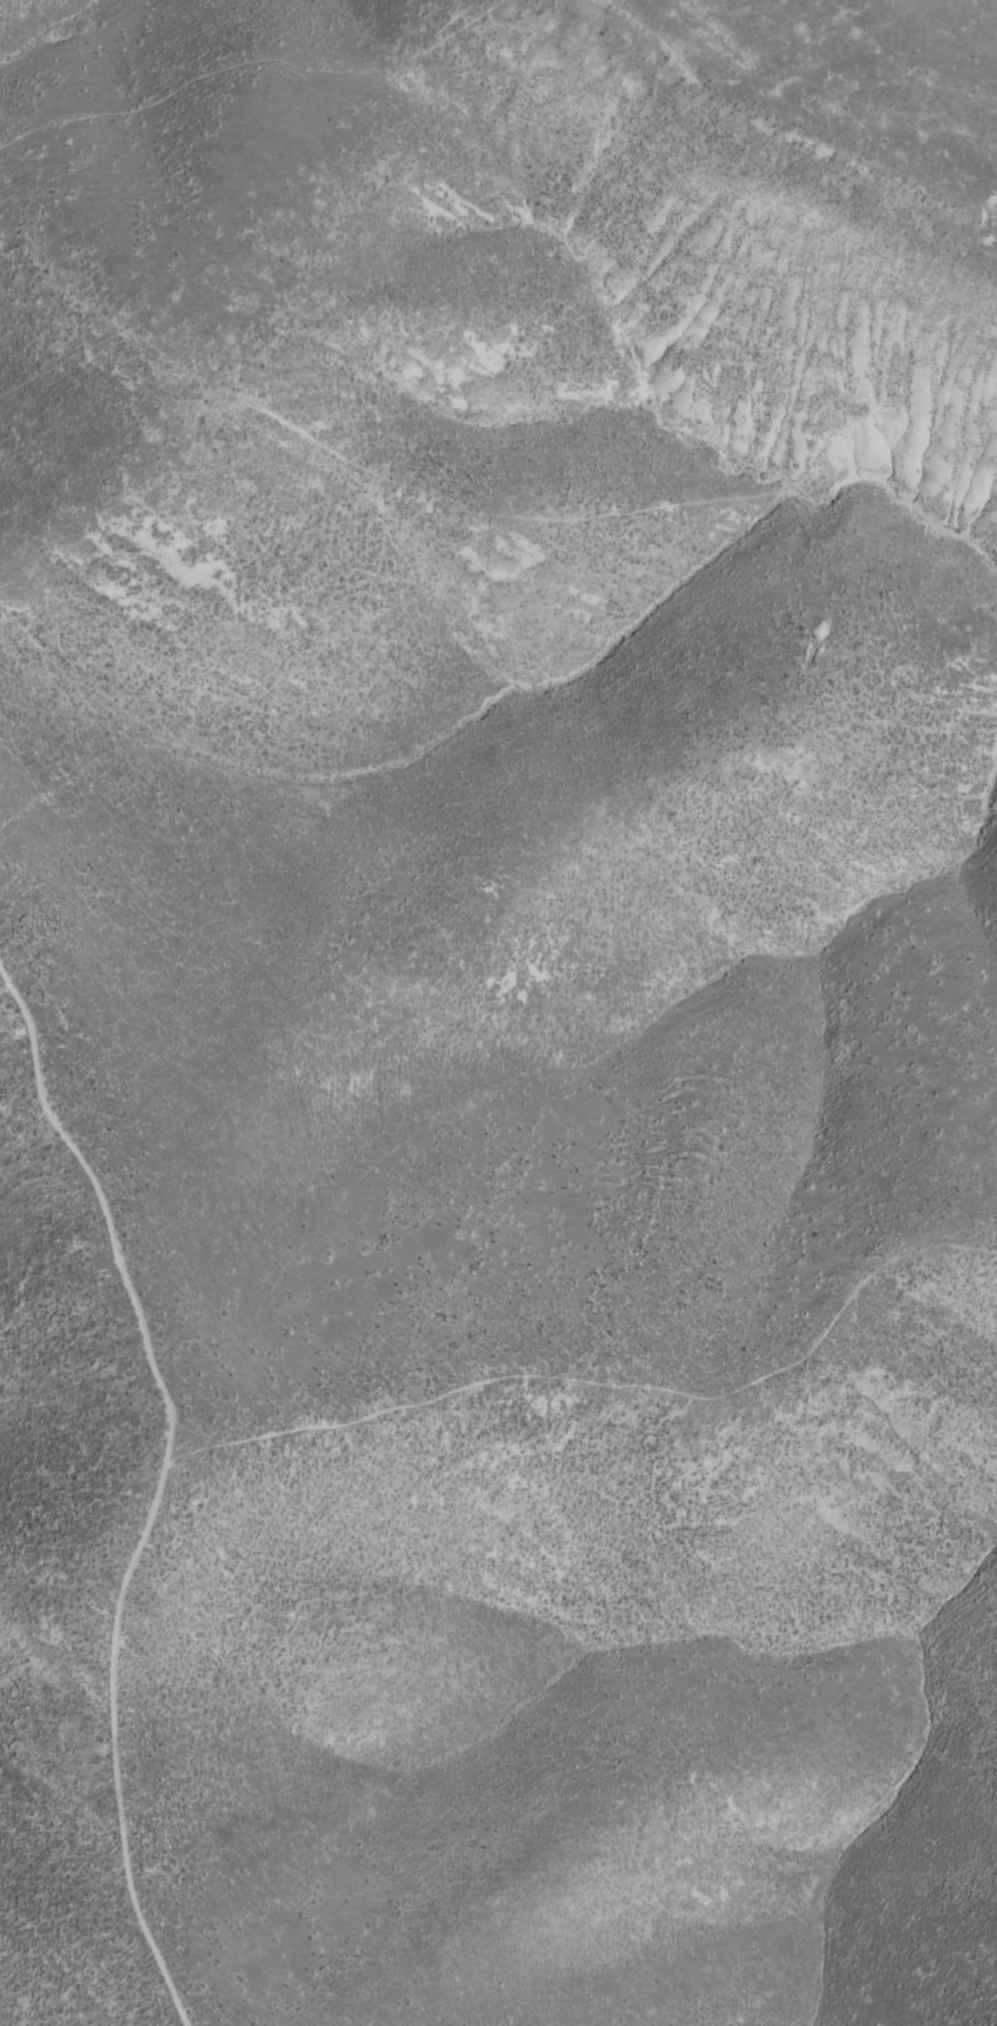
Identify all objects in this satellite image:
road: (159, 1490)

